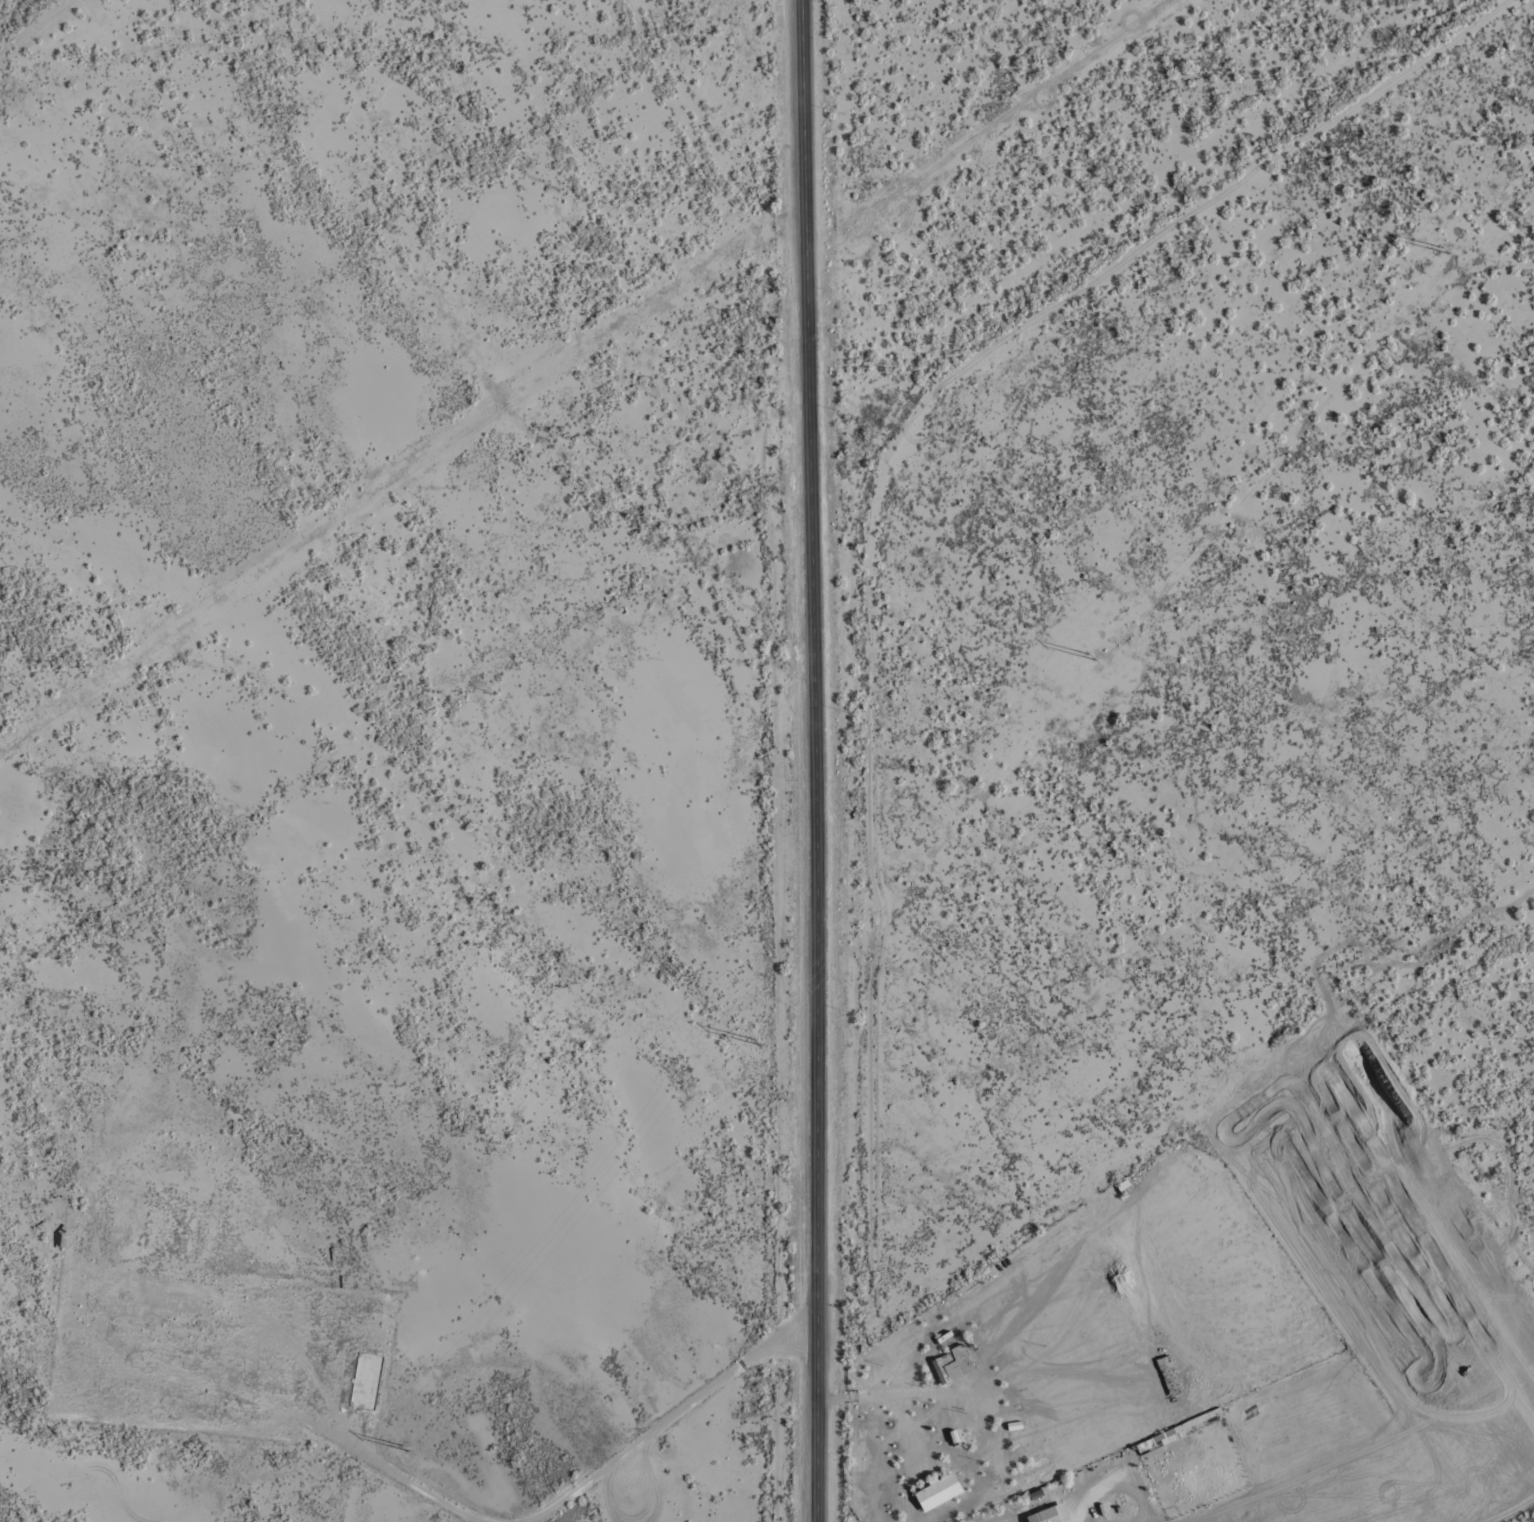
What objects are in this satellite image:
road: (814, 760)
building: (1047, 1515)

